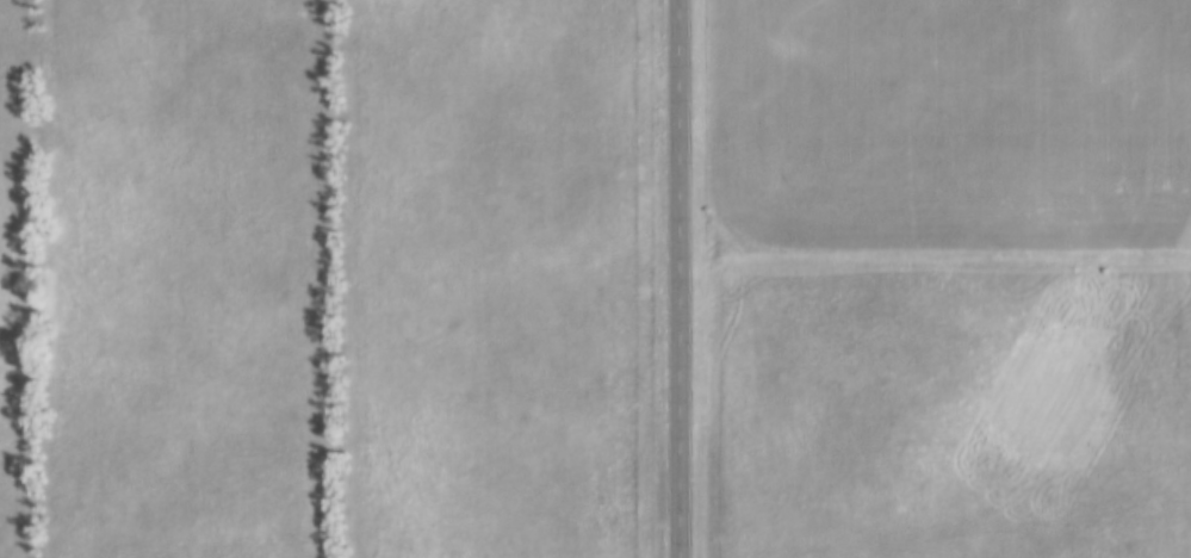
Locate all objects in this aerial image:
road: (678, 279)

